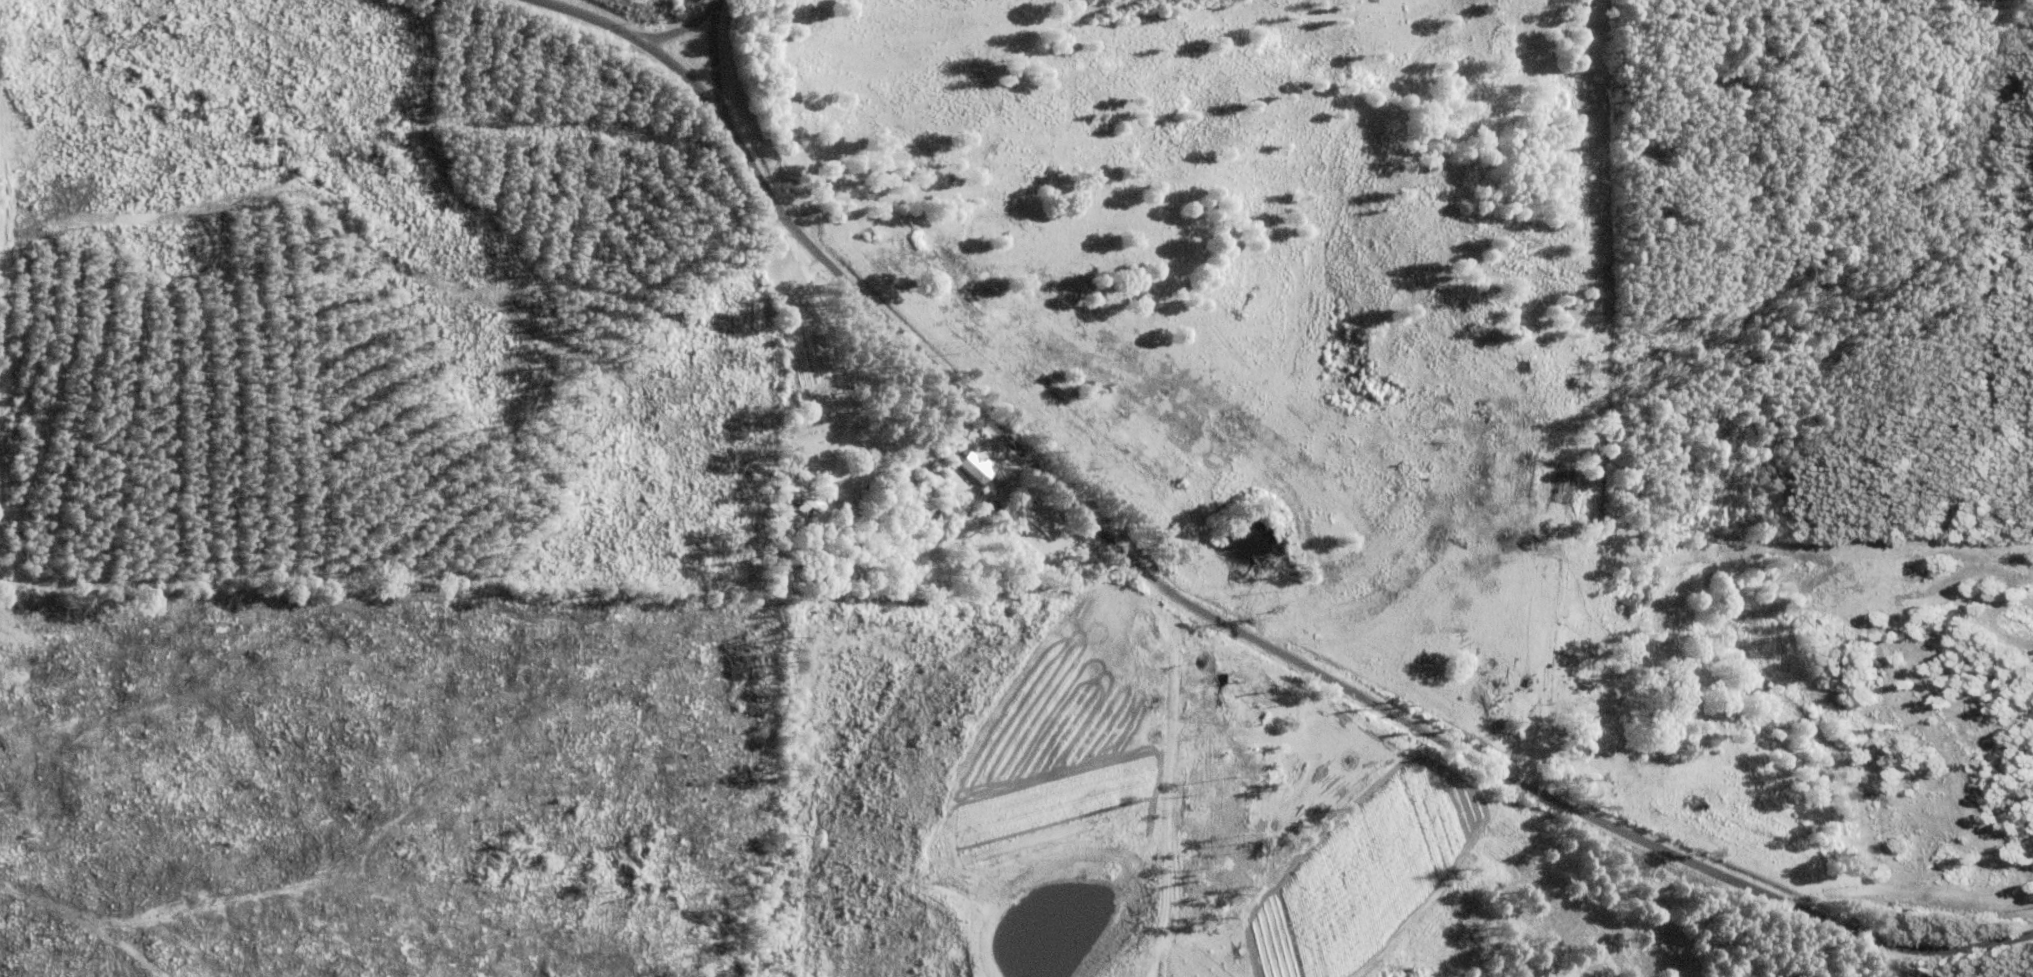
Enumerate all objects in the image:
road: (683, 26)
road: (714, 56)
building: (958, 464)
building: (791, 498)
road: (1204, 599)
building: (1236, 709)
building: (1652, 732)
building: (1588, 740)

